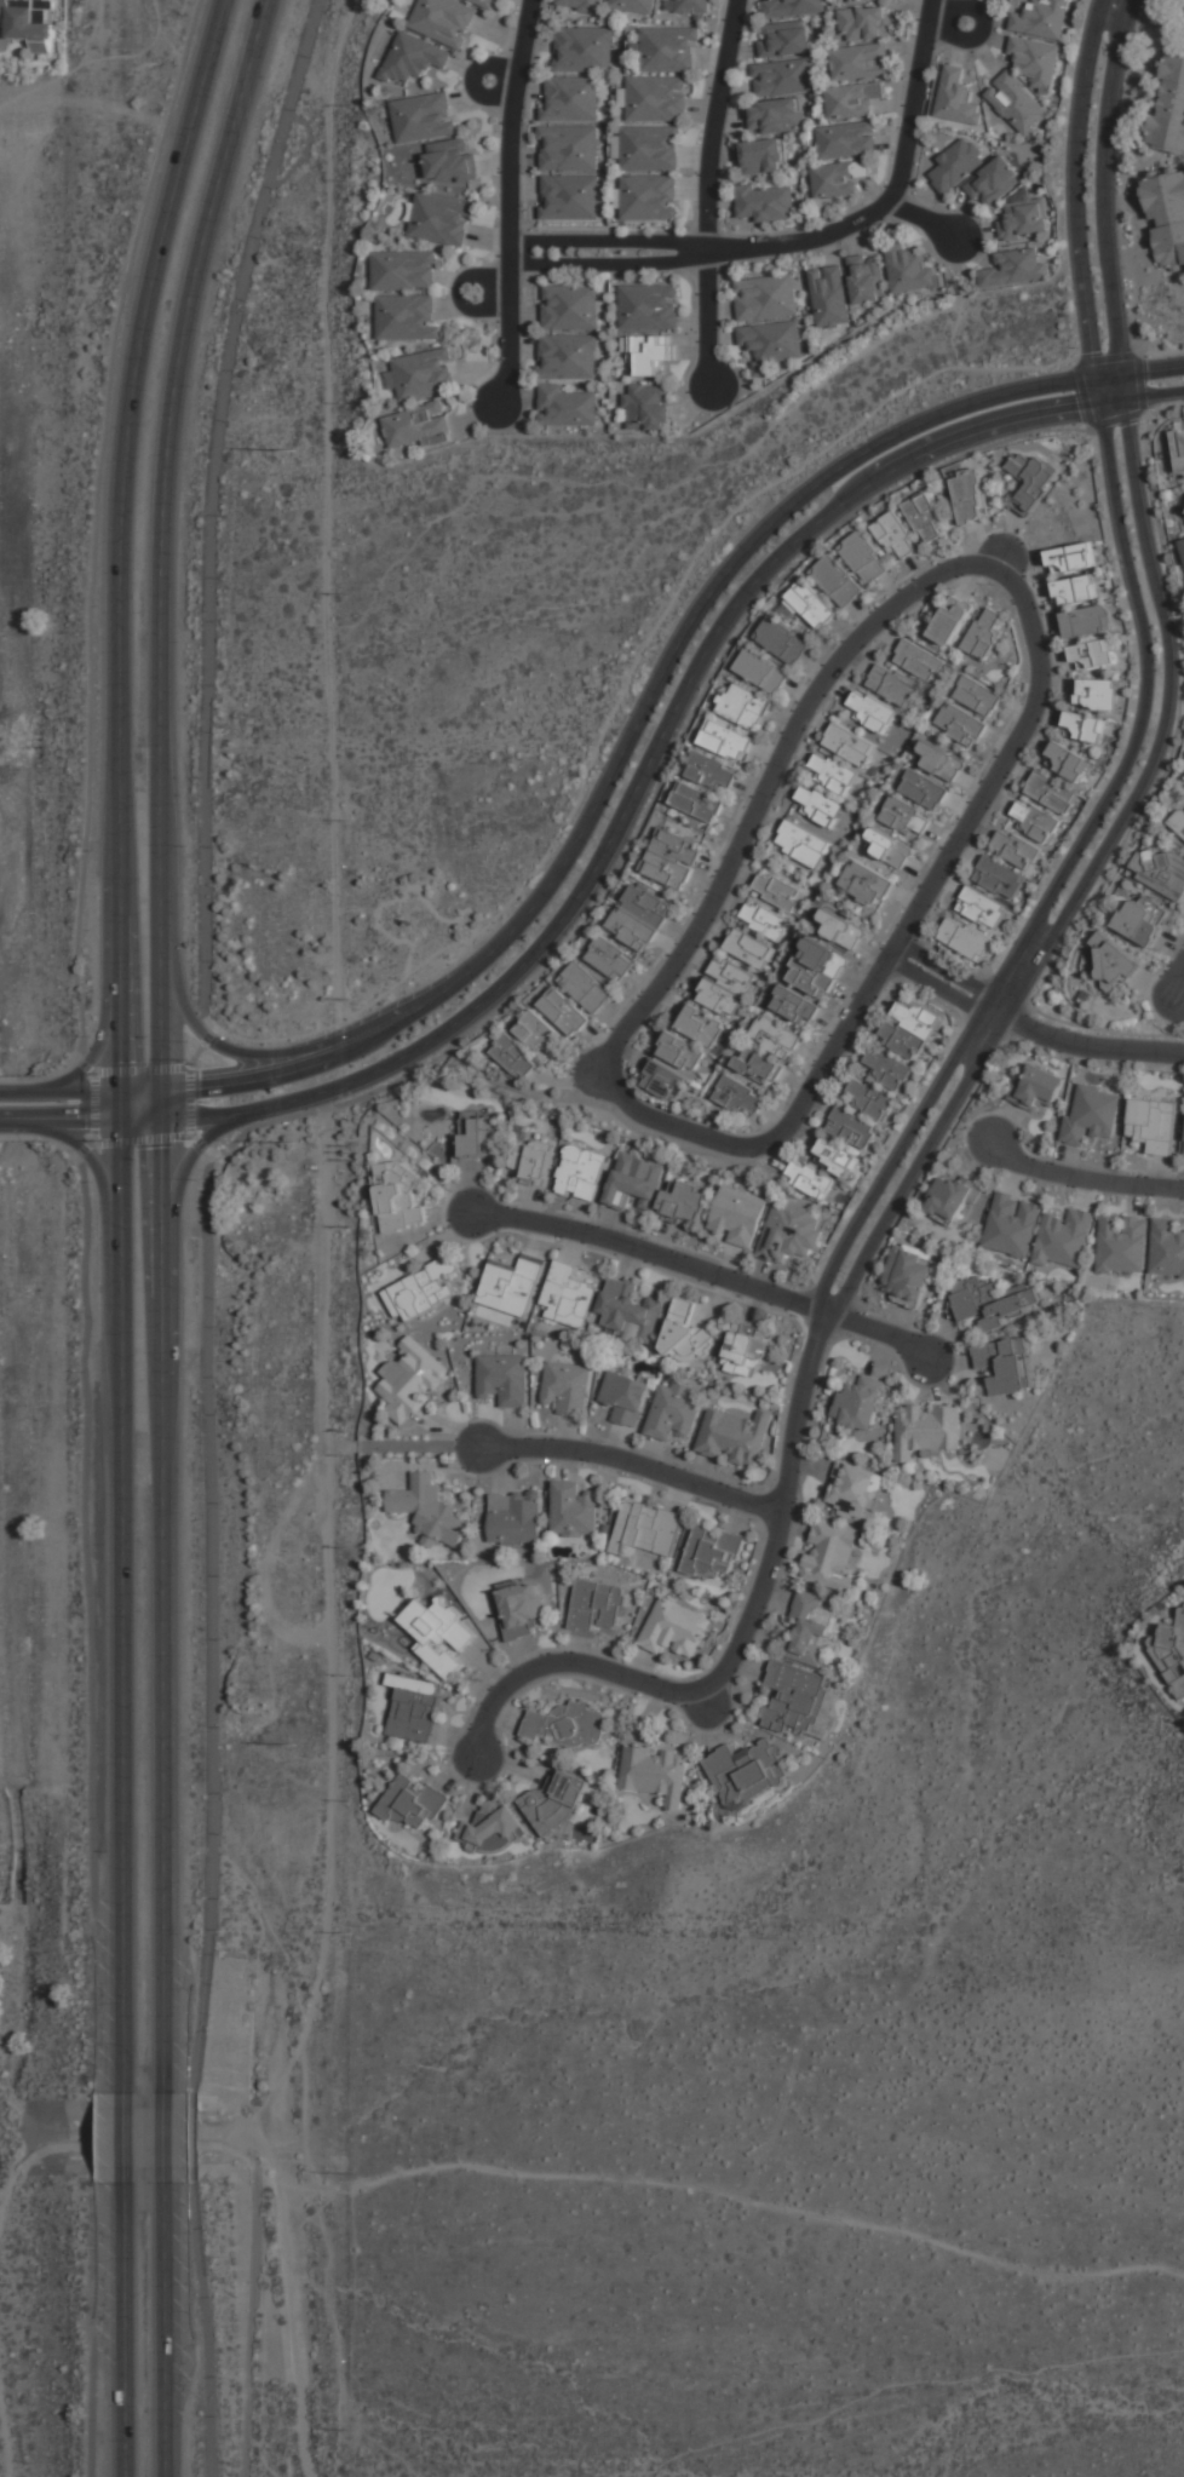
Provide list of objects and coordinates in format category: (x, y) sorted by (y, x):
building: (857, 1)
building: (483, 4)
building: (580, 6)
building: (634, 6)
building: (691, 7)
building: (792, 8)
building: (1042, 18)
building: (29, 21)
building: (442, 22)
building: (866, 23)
road: (949, 23)
building: (784, 42)
building: (581, 52)
building: (667, 52)
building: (414, 59)
building: (1035, 61)
building: (860, 62)
building: (781, 79)
building: (956, 97)
building: (655, 100)
building: (852, 100)
building: (568, 102)
building: (1017, 103)
building: (1169, 109)
building: (775, 117)
building: (423, 119)
road: (712, 126)
building: (847, 140)
building: (568, 150)
building: (649, 150)
building: (763, 159)
building: (450, 162)
building: (956, 166)
road: (1125, 174)
building: (839, 178)
building: (994, 184)
road: (1100, 185)
road: (1075, 188)
road: (892, 196)
building: (569, 199)
building: (648, 200)
building: (764, 203)
road: (510, 205)
building: (1166, 215)
road: (924, 220)
building: (1024, 220)
building: (441, 222)
road: (609, 241)
road: (608, 264)
building: (1015, 269)
building: (402, 272)
building: (867, 283)
road: (460, 292)
building: (765, 299)
building: (570, 309)
building: (648, 309)
building: (406, 318)
road: (707, 322)
building: (771, 346)
road: (1133, 351)
building: (648, 356)
road: (229, 357)
building: (567, 358)
road: (1151, 369)
building: (421, 373)
road: (1107, 375)
road: (1121, 386)
road: (1153, 393)
road: (1111, 401)
building: (565, 408)
road: (1165, 408)
building: (646, 409)
building: (416, 426)
road: (981, 427)
building: (1178, 448)
power tower: (291, 450)
building: (1031, 481)
road: (849, 495)
building: (970, 496)
building: (925, 517)
building: (896, 536)
building: (1182, 542)
building: (864, 557)
building: (1074, 557)
road: (1002, 574)
building: (837, 581)
building: (1076, 590)
building: (807, 605)
building: (950, 621)
building: (1087, 621)
building: (984, 632)
building: (782, 642)
building: (1092, 655)
building: (918, 660)
building: (761, 671)
building: (893, 685)
building: (1096, 694)
building: (977, 695)
building: (743, 706)
road: (1143, 708)
building: (870, 711)
building: (961, 724)
road: (1160, 726)
building: (1086, 728)
road: (628, 740)
building: (726, 741)
building: (850, 745)
building: (941, 762)
building: (1068, 762)
building: (711, 771)
building: (832, 774)
building: (924, 789)
road: (654, 791)
building: (1051, 793)
building: (696, 801)
building: (818, 805)
building: (906, 817)
building: (1036, 822)
building: (1178, 822)
building: (803, 844)
building: (889, 847)
building: (1015, 849)
building: (671, 857)
building: (1163, 873)
road: (205, 879)
building: (999, 879)
building: (866, 885)
road: (932, 885)
building: (776, 891)
road: (568, 907)
building: (982, 908)
building: (639, 918)
building: (763, 920)
building: (1142, 921)
building: (840, 930)
building: (965, 938)
road: (684, 944)
building: (748, 948)
building: (609, 960)
building: (1113, 962)
building: (816, 967)
road: (944, 971)
road: (1178, 981)
building: (585, 987)
building: (725, 987)
road: (935, 987)
road: (107, 1006)
building: (794, 1006)
road: (994, 1011)
building: (563, 1012)
building: (701, 1025)
building: (909, 1028)
building: (538, 1033)
building: (775, 1036)
road: (120, 1042)
road: (160, 1044)
road: (1090, 1046)
road: (201, 1047)
building: (680, 1052)
road: (263, 1057)
building: (513, 1057)
road: (85, 1064)
building: (758, 1065)
building: (887, 1069)
building: (661, 1079)
road: (811, 1087)
building: (1036, 1087)
road: (61, 1092)
traffic signals: (121, 1092)
road: (140, 1092)
traffic signals: (160, 1092)
building: (740, 1097)
building: (869, 1099)
road: (190, 1100)
road: (94, 1109)
building: (1091, 1115)
road: (140, 1121)
traffic signals: (161, 1121)
road: (59, 1122)
traffic signals: (121, 1122)
road: (317, 1123)
building: (1153, 1125)
building: (851, 1128)
building: (477, 1134)
road: (199, 1144)
road: (85, 1148)
road: (85, 1149)
road: (896, 1156)
building: (835, 1157)
building: (531, 1162)
road: (914, 1165)
building: (581, 1172)
road: (1085, 1176)
building: (809, 1179)
building: (636, 1183)
building: (397, 1196)
building: (953, 1197)
building: (685, 1202)
building: (737, 1215)
building: (1012, 1224)
building: (789, 1232)
road: (174, 1236)
building: (1064, 1240)
building: (1122, 1246)
building: (1167, 1248)
road: (206, 1269)
road: (707, 1270)
building: (908, 1276)
building: (511, 1286)
building: (421, 1289)
building: (569, 1297)
building: (992, 1300)
building: (628, 1311)
building: (685, 1335)
building: (745, 1352)
building: (1005, 1366)
building: (412, 1380)
building: (502, 1380)
building: (565, 1387)
building: (623, 1400)
building: (861, 1403)
building: (672, 1412)
building: (926, 1430)
building: (734, 1437)
road: (633, 1464)
building: (853, 1490)
building: (427, 1510)
building: (573, 1511)
building: (513, 1519)
building: (648, 1529)
building: (713, 1551)
building: (830, 1556)
building: (597, 1607)
building: (521, 1611)
building: (674, 1628)
building: (812, 1630)
building: (439, 1633)
building: (1172, 1653)
road: (734, 1655)
road: (324, 1656)
building: (797, 1696)
building: (414, 1707)
building: (826, 1717)
building: (568, 1725)
road: (209, 1740)
power tower: (298, 1746)
building: (747, 1771)
building: (656, 1774)
building: (556, 1799)
building: (414, 1804)
building: (490, 1808)
building: (493, 1829)
road: (195, 2137)
road: (125, 2139)
road: (162, 2143)
road: (136, 2145)
road: (10, 2183)
road: (723, 2195)
park: (754, 2208)
park: (46, 2241)
road: (251, 2322)
road: (208, 2327)
road: (125, 2329)
road: (162, 2331)

